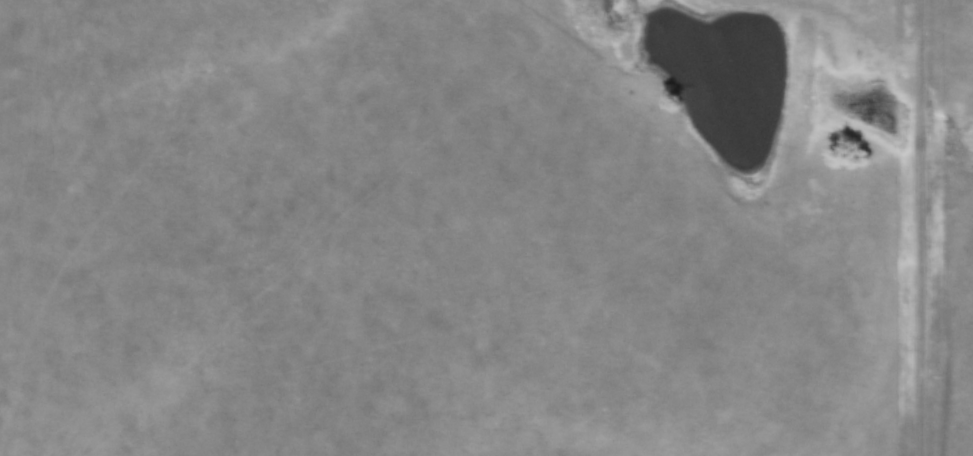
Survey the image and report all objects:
road: (921, 228)

